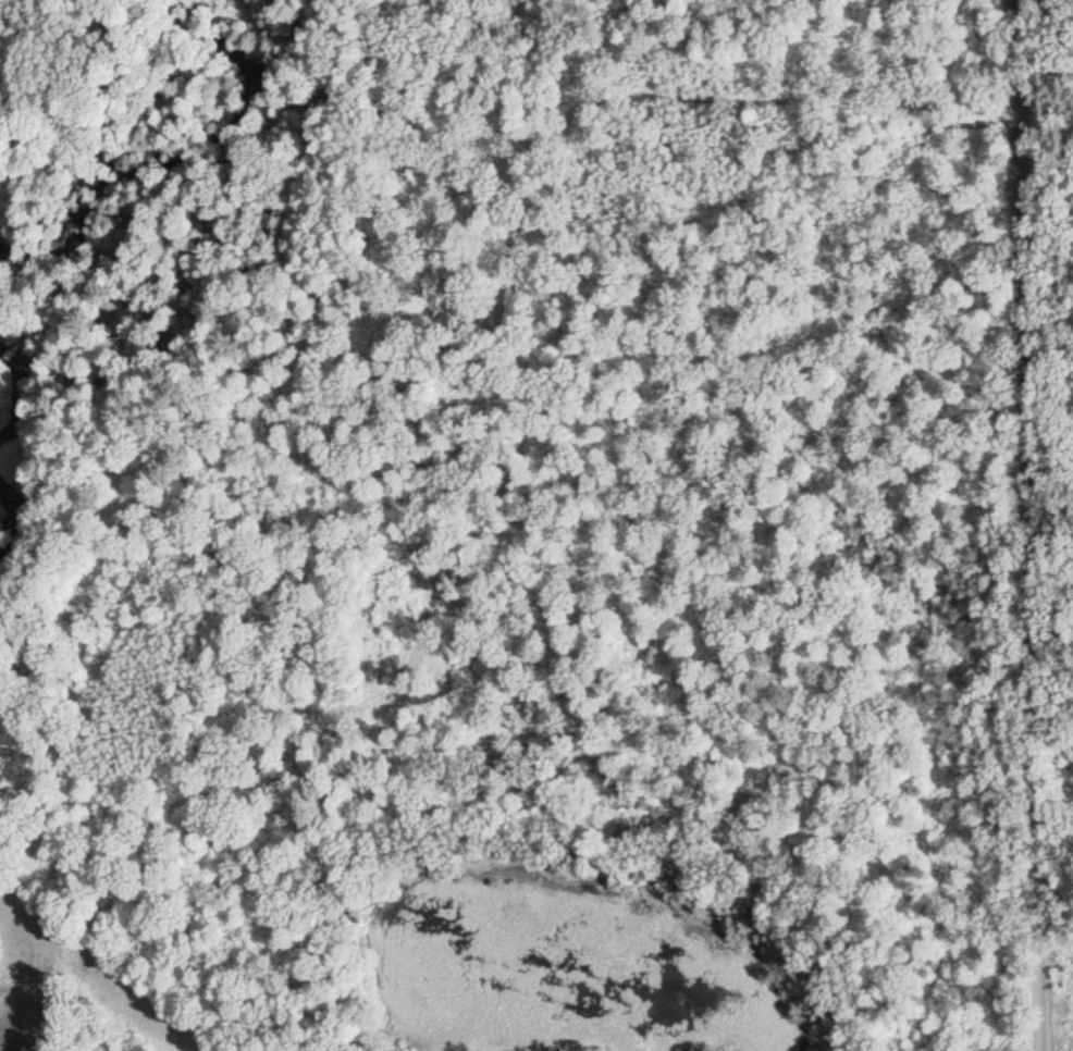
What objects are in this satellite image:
road: (1034, 525)

